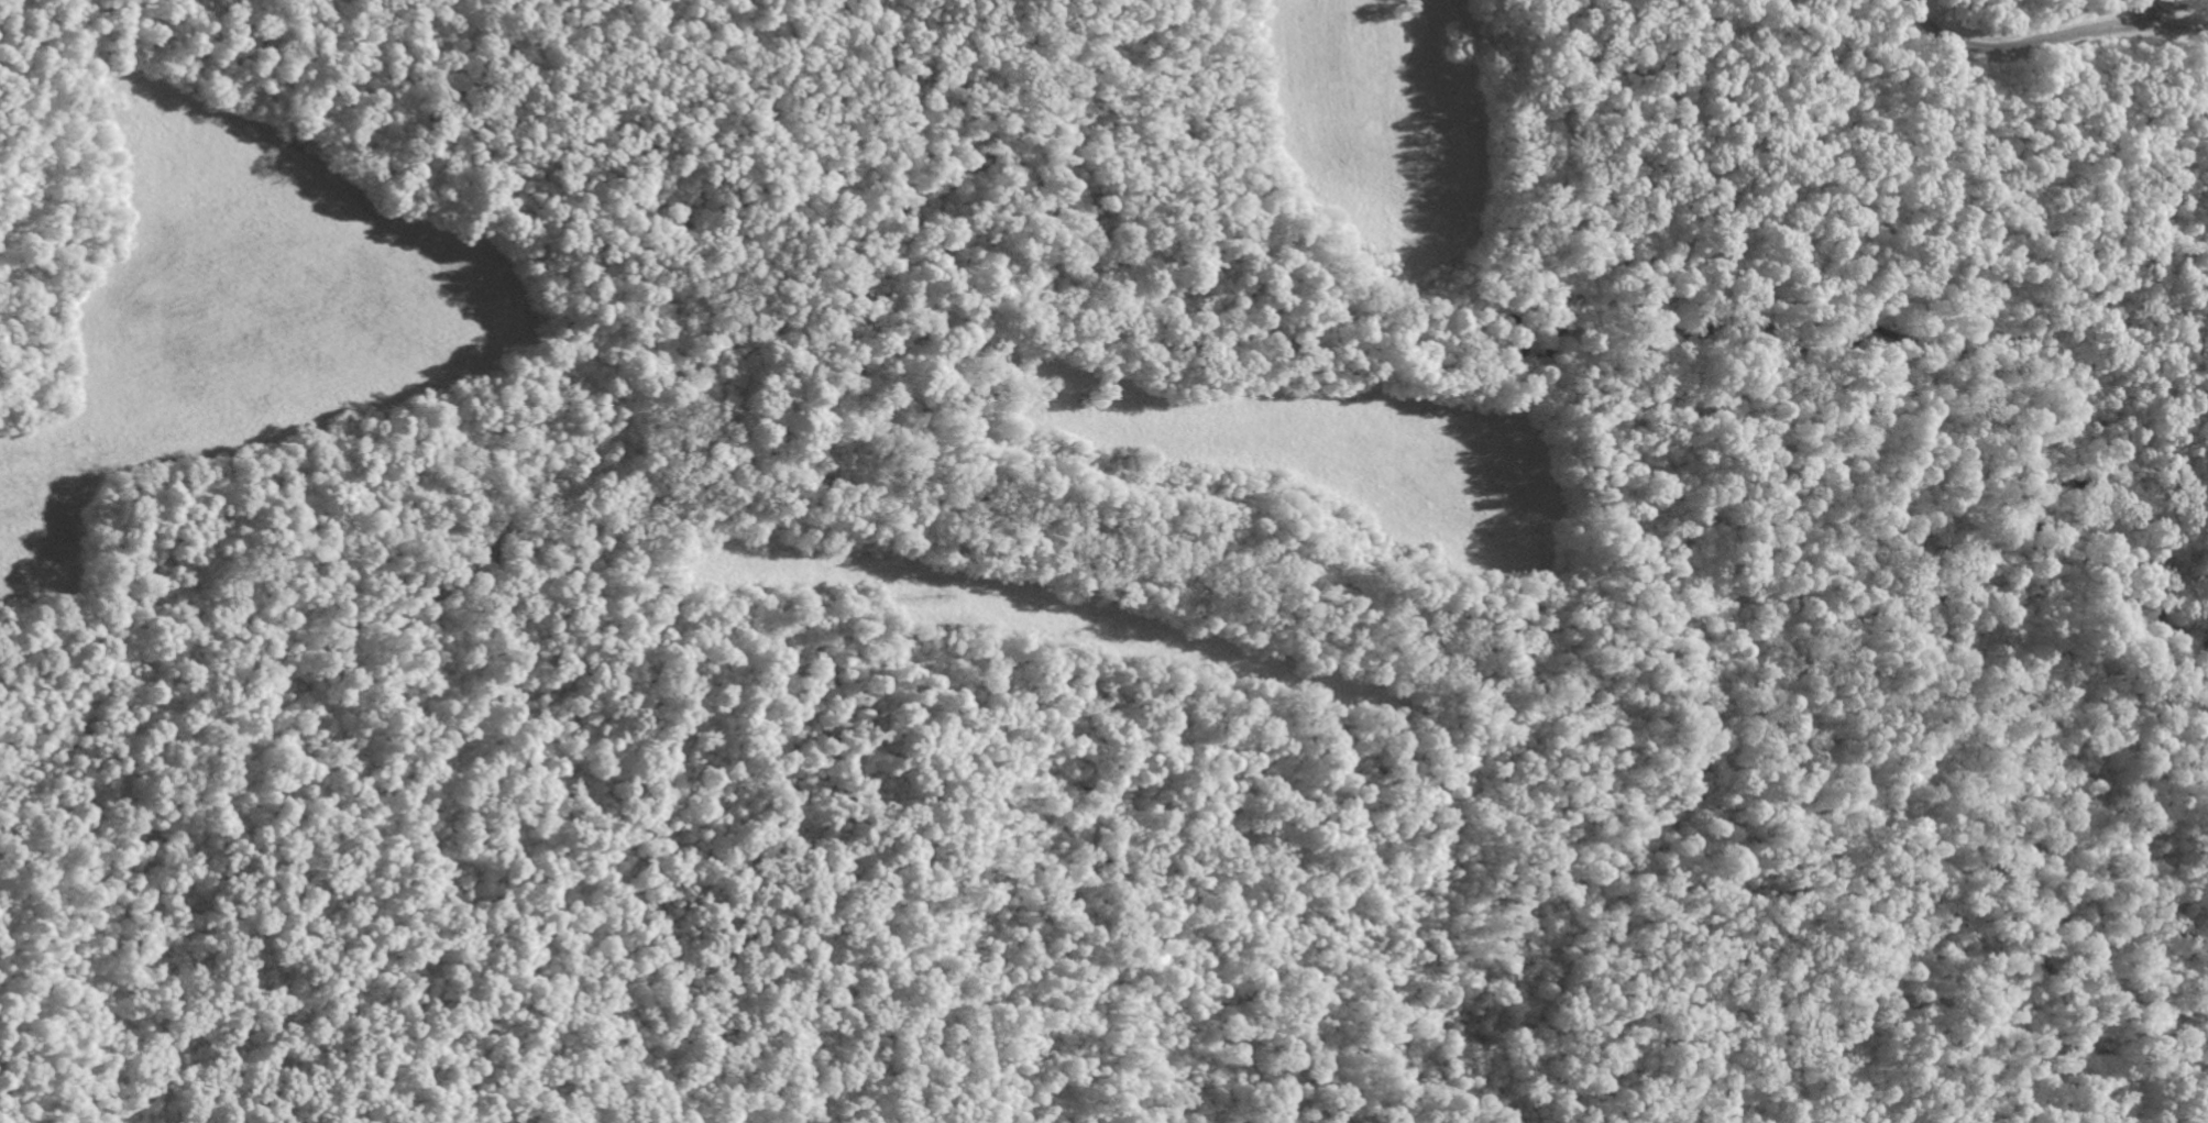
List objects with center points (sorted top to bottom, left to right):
road: (2145, 14)
road: (2051, 42)

